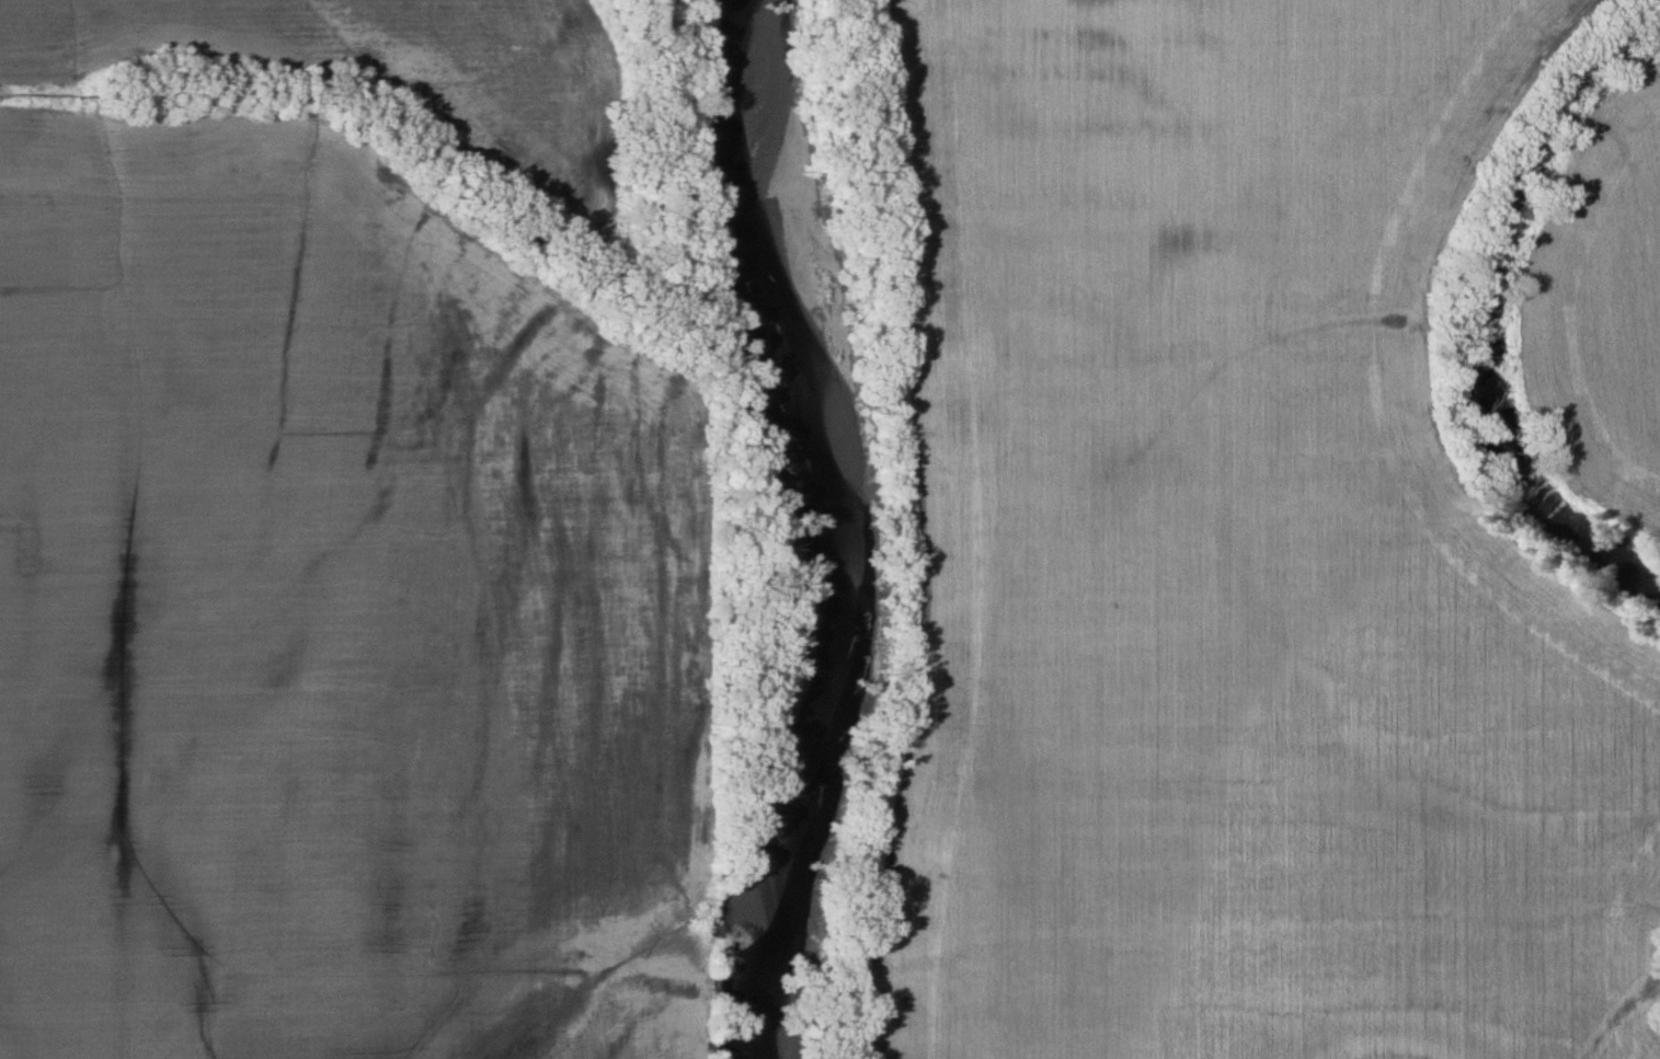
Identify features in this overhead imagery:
crop: (397, 72)
crop: (1243, 563)
crop: (340, 620)

